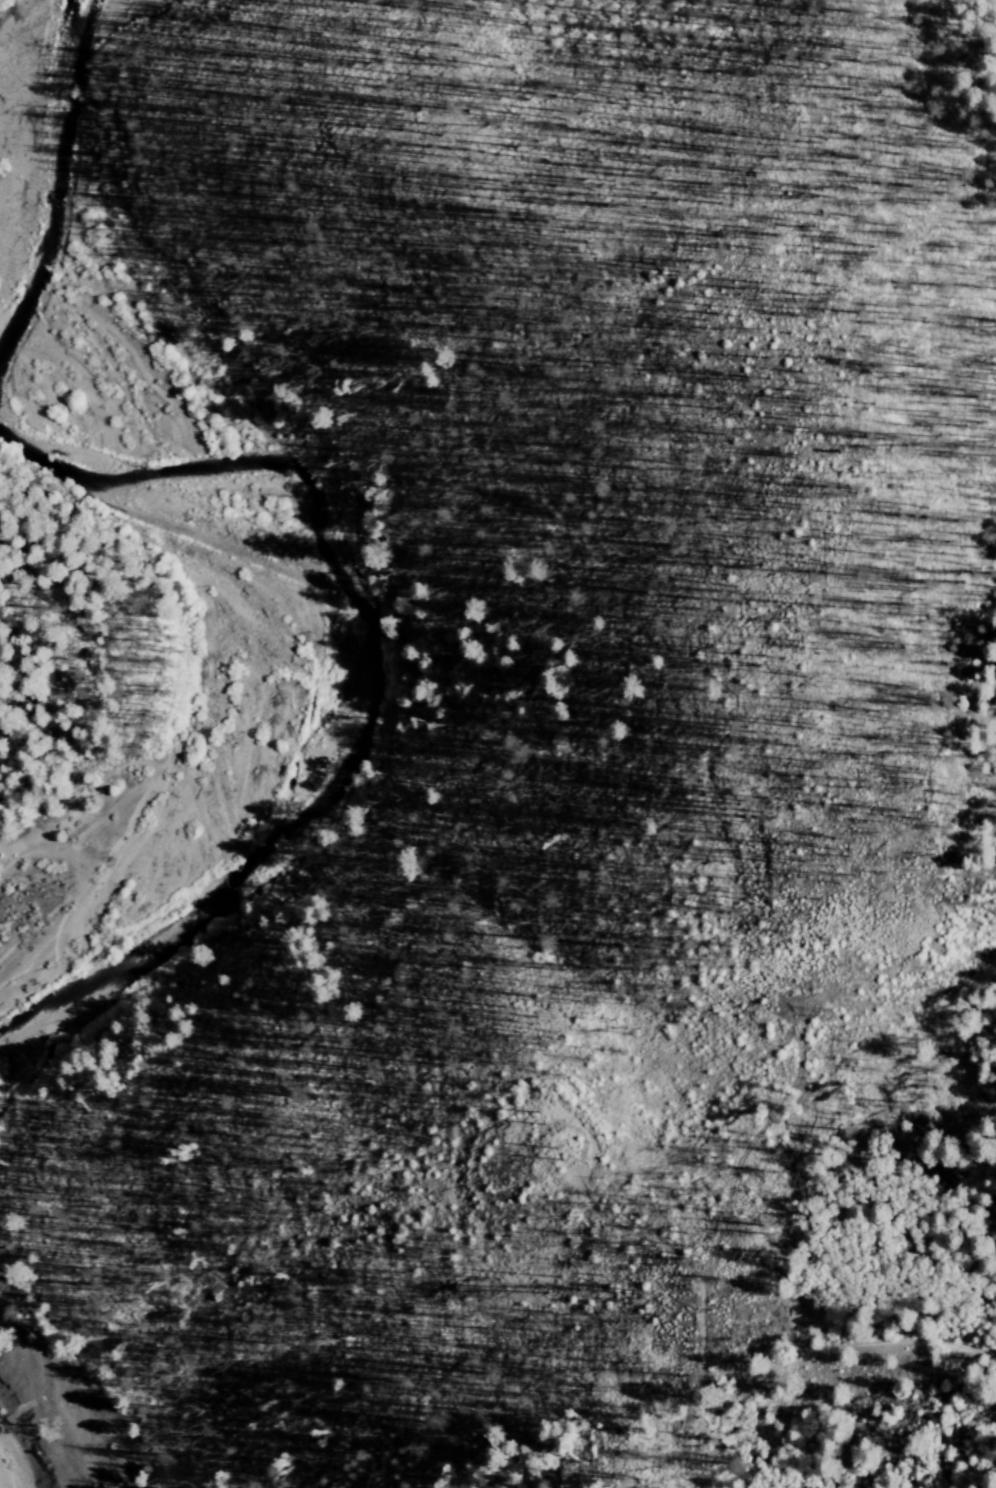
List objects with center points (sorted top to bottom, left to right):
power tower: (528, 1116)
power tower: (549, 1153)

